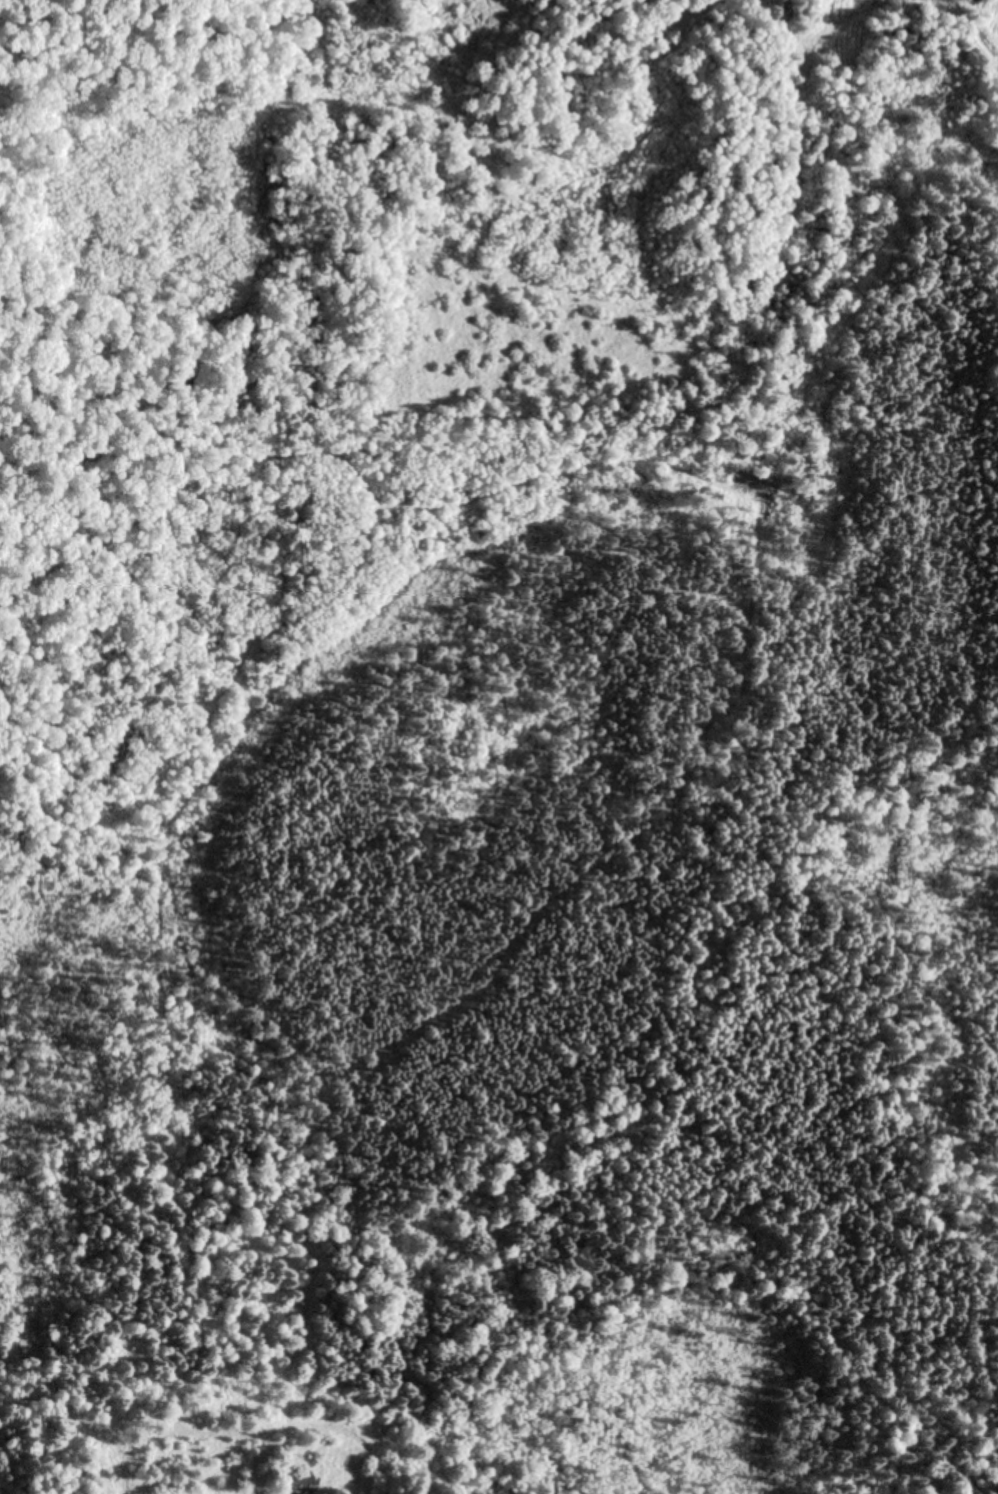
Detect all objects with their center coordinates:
park: (923, 1437)

